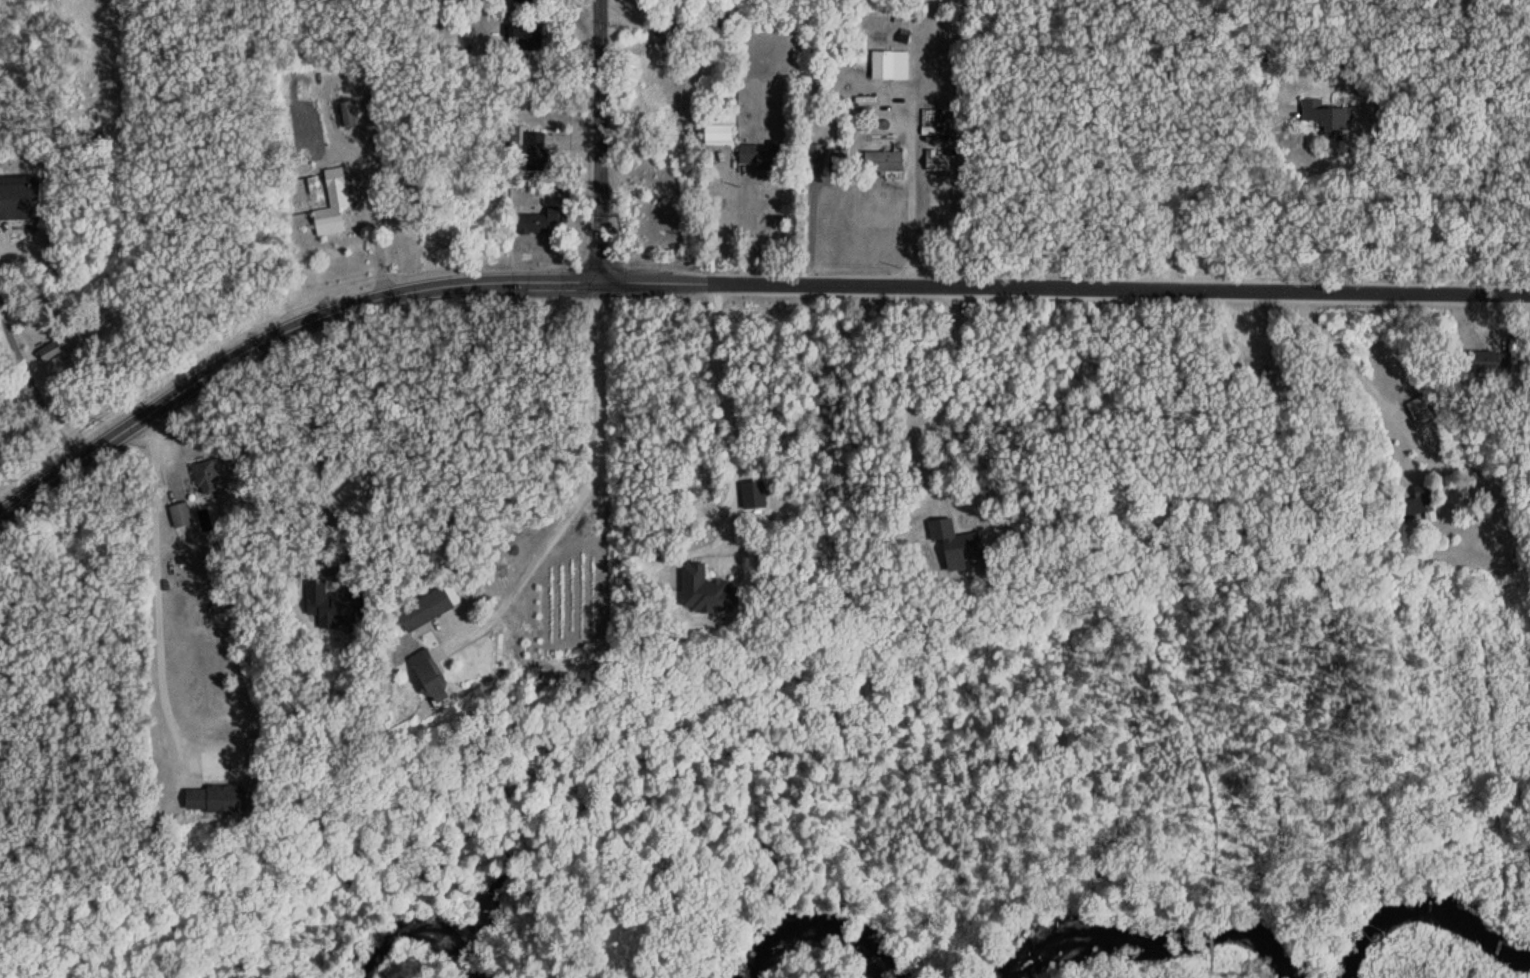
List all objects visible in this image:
building: (527, 0)
building: (683, 9)
building: (683, 28)
building: (526, 37)
building: (890, 65)
building: (348, 114)
building: (1328, 118)
building: (720, 134)
road: (600, 139)
road: (913, 146)
building: (537, 151)
building: (767, 157)
building: (885, 162)
building: (938, 162)
road: (1204, 178)
building: (21, 199)
road: (963, 199)
building: (334, 200)
building: (540, 220)
road: (748, 224)
road: (373, 238)
road: (733, 279)
building: (51, 352)
building: (1492, 362)
road: (34, 382)
road: (1372, 391)
road: (950, 395)
building: (1419, 410)
building: (207, 478)
road: (588, 482)
building: (1422, 503)
road: (728, 510)
building: (181, 515)
building: (959, 546)
road: (159, 574)
building: (708, 592)
building: (340, 608)
building: (426, 610)
building: (2, 658)
building: (433, 679)
building: (256, 752)
building: (218, 801)

